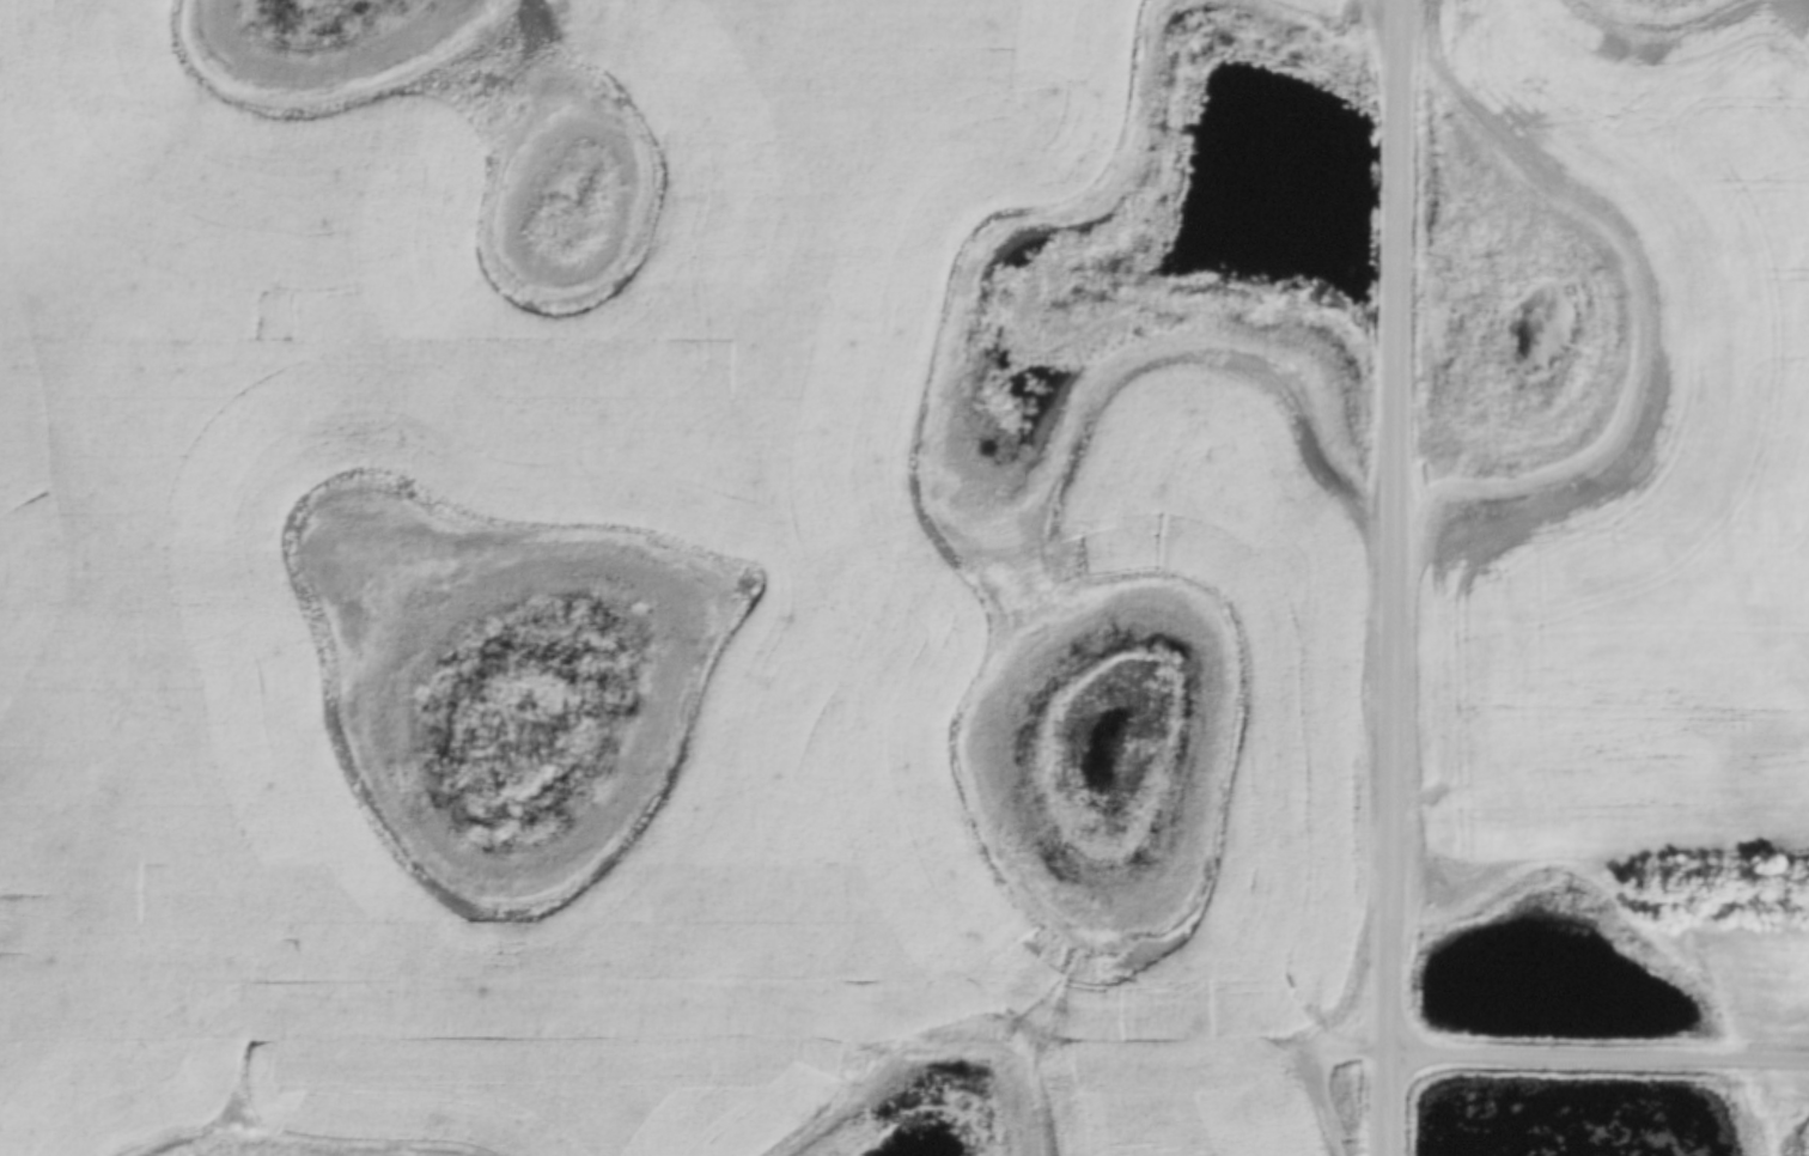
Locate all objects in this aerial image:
road: (1402, 577)
road: (1603, 1060)

